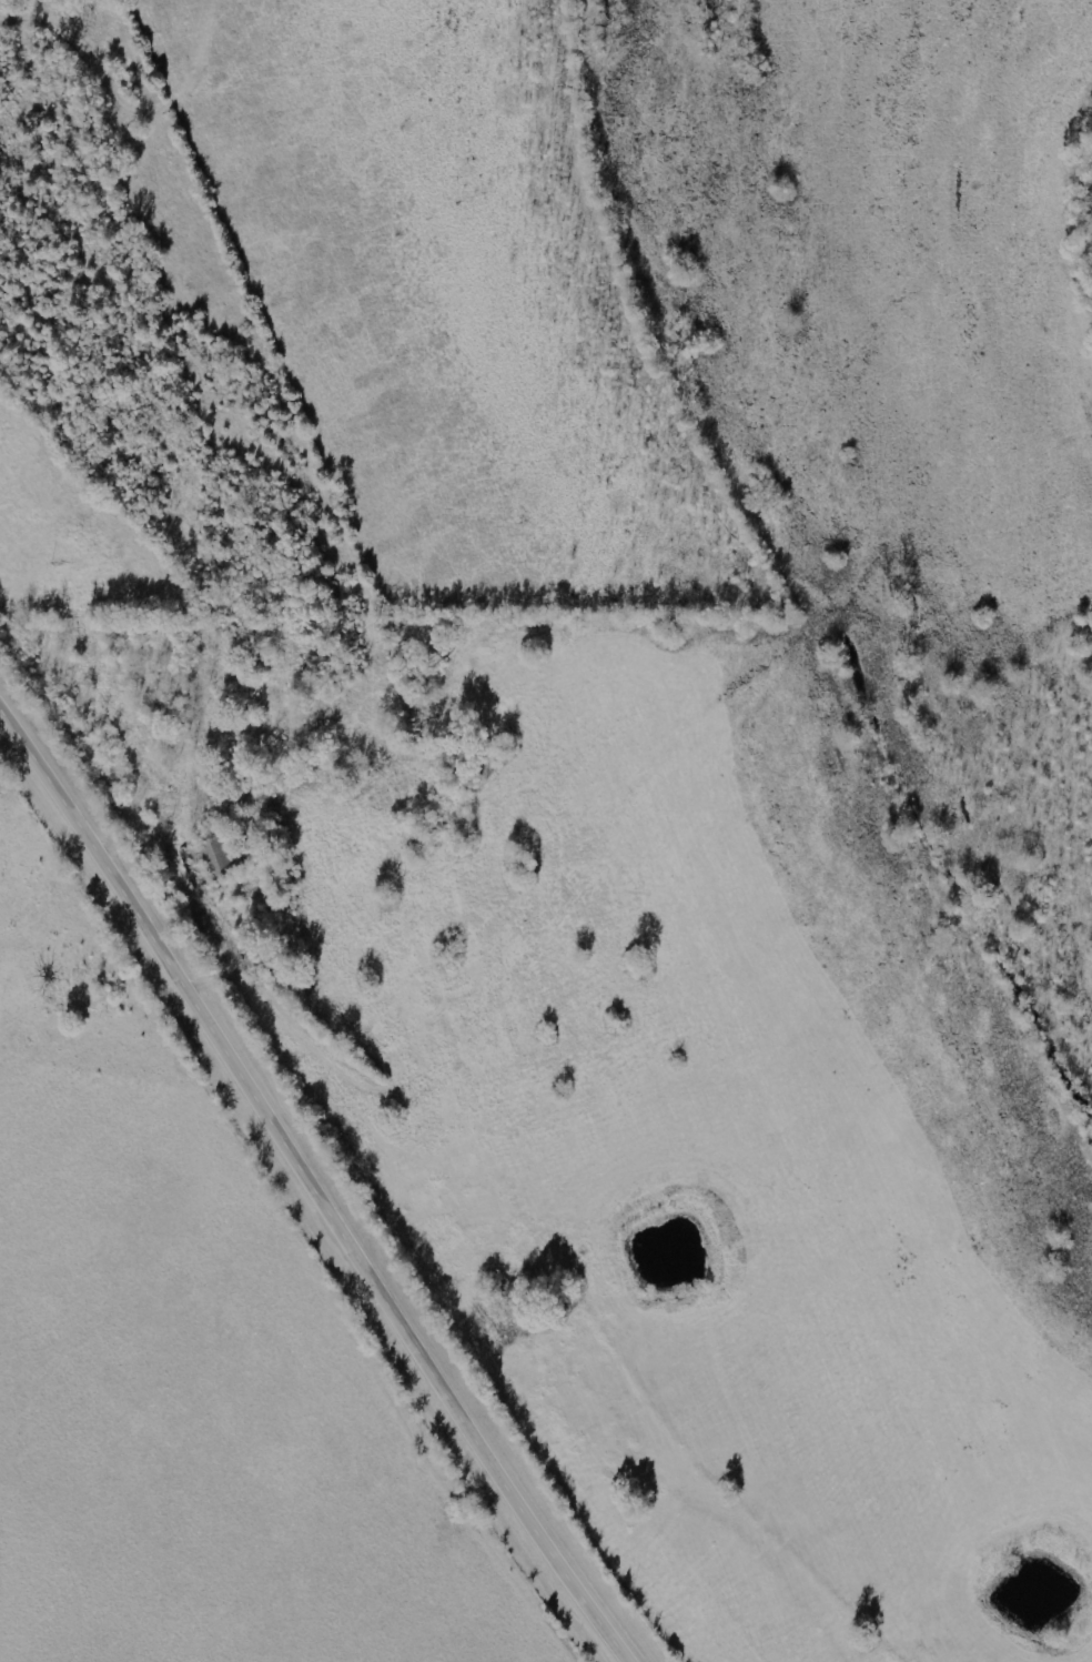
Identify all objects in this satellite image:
road: (312, 1186)

